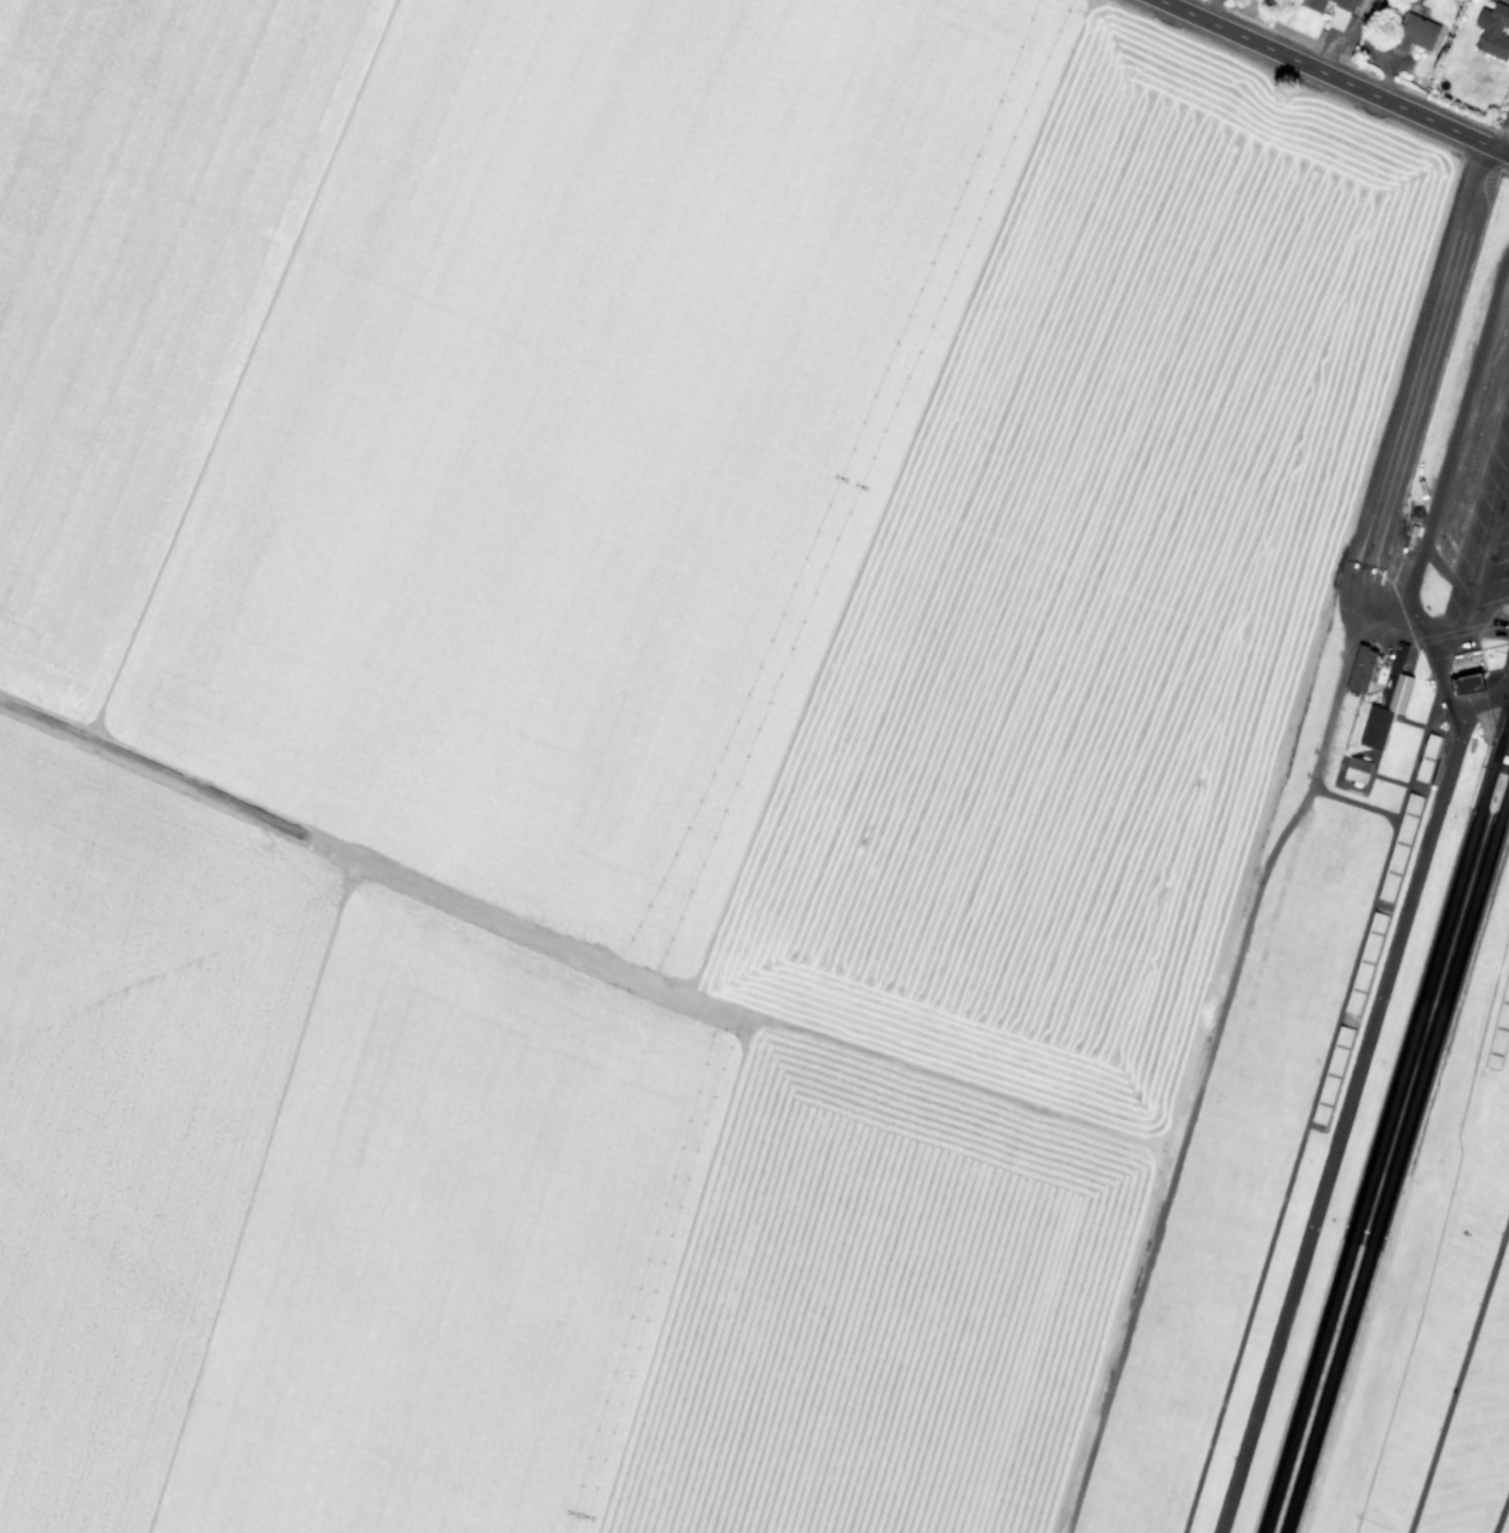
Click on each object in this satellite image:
building: (1334, 5)
building: (1416, 34)
building: (1496, 34)
road: (1331, 77)
road: (1503, 138)
road: (1451, 437)
road: (1393, 465)
road: (1479, 561)
building: (1357, 669)
building: (1392, 680)
building: (1462, 683)
crop: (633, 733)
stadium: (1424, 758)
building: (1354, 770)
road: (1349, 799)
stadium: (1398, 847)
stadium: (1362, 963)
stadium: (1498, 1029)
road: (1204, 1069)
stadium: (1329, 1075)
stadium: (1478, 1109)
road: (1338, 1134)
raceway: (1391, 1137)
road: (1459, 1376)
road: (1501, 1512)

